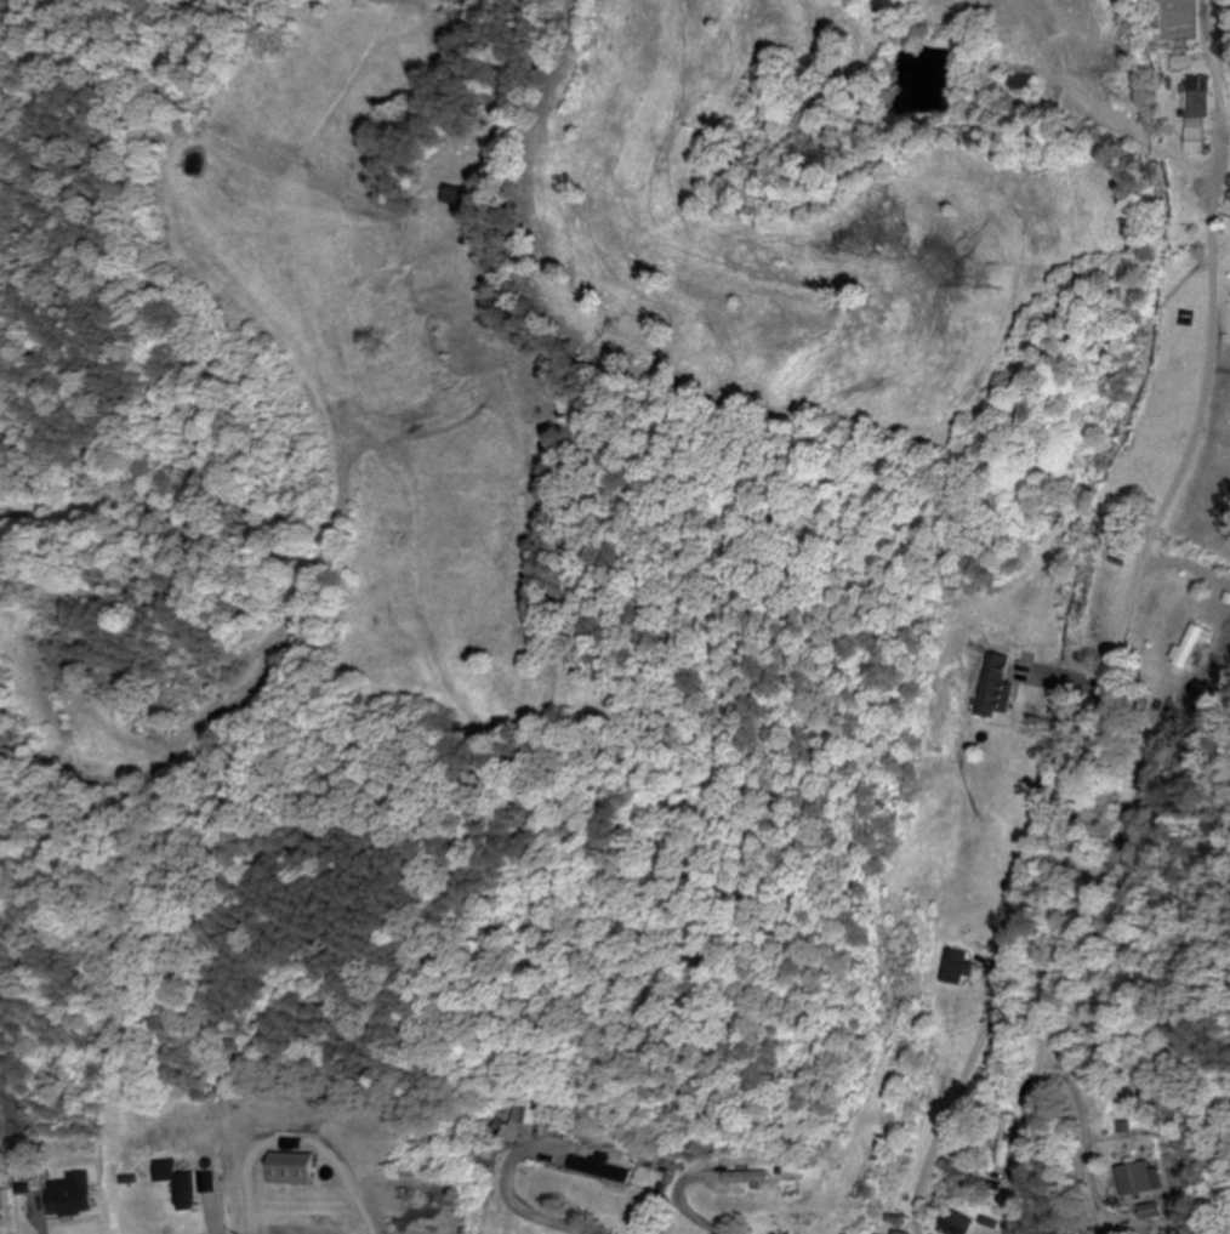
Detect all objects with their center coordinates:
building: (1196, 115)
building: (450, 195)
building: (39, 622)
building: (1194, 647)
building: (997, 686)
road: (1094, 716)
building: (957, 968)
building: (529, 1114)
building: (1009, 1143)
building: (603, 1171)
building: (746, 1178)
building: (1140, 1179)
building: (184, 1188)
building: (69, 1195)
building: (955, 1223)
building: (896, 1232)

